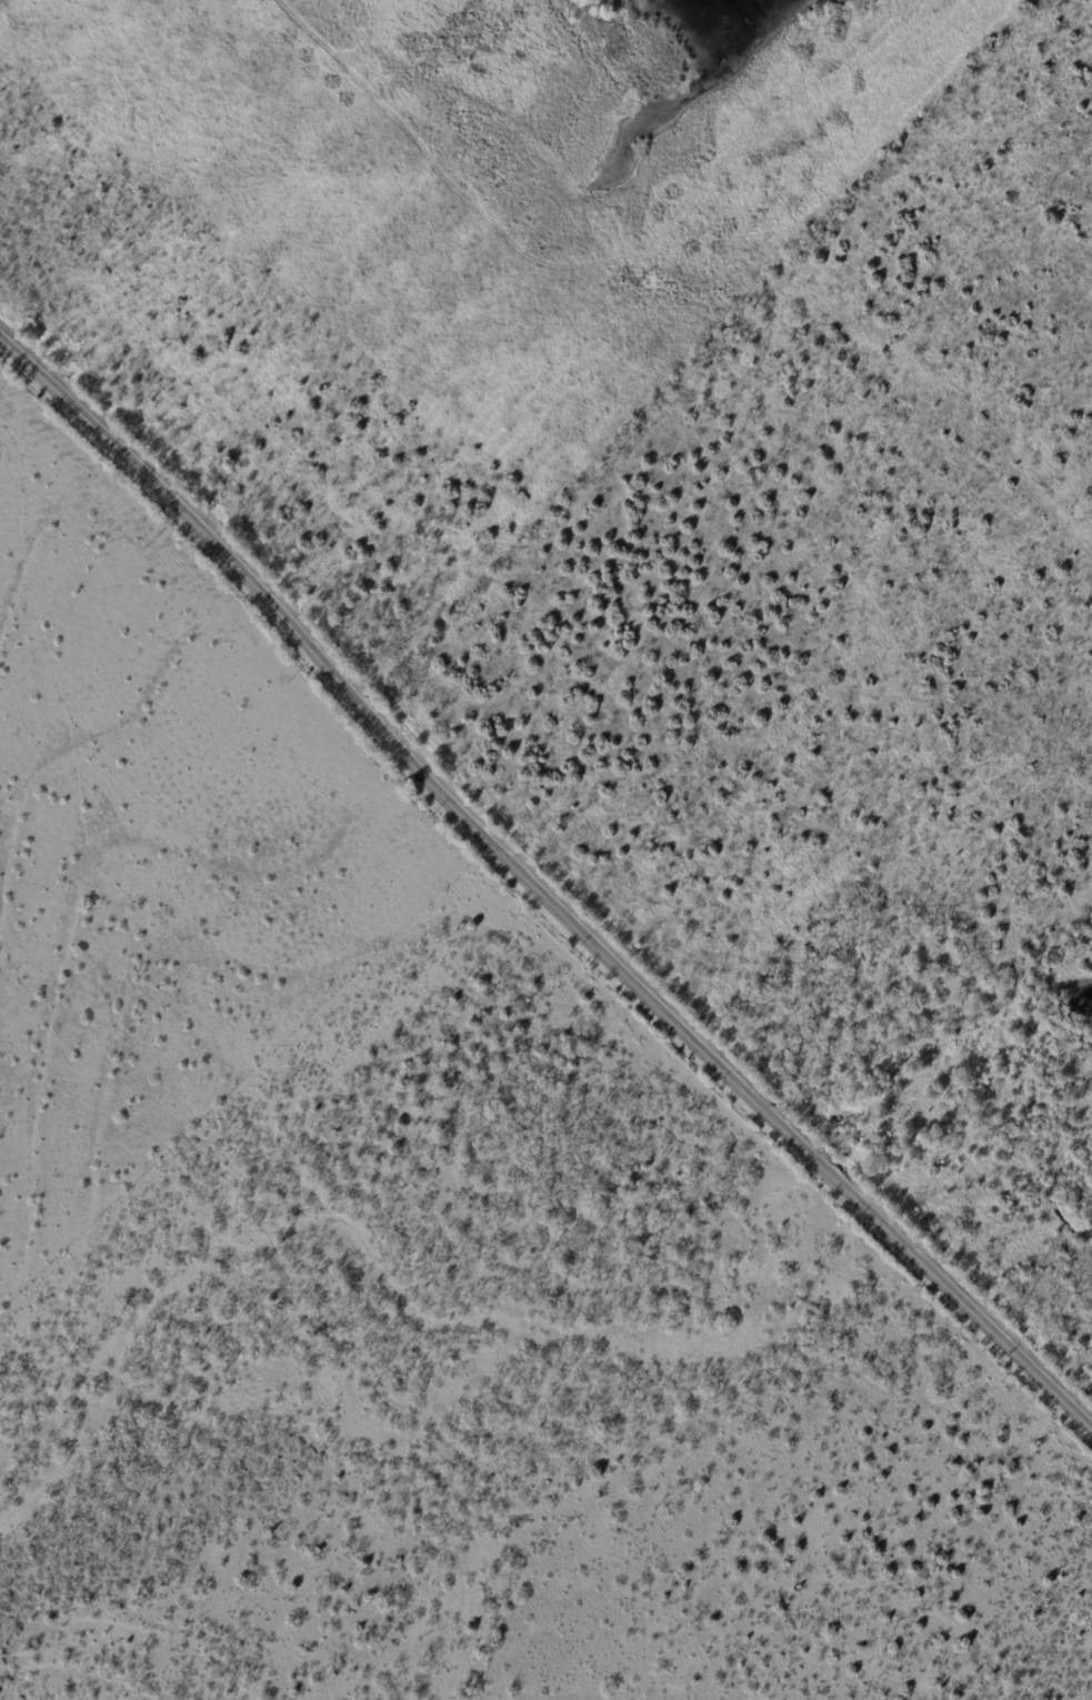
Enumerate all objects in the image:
road: (538, 891)

